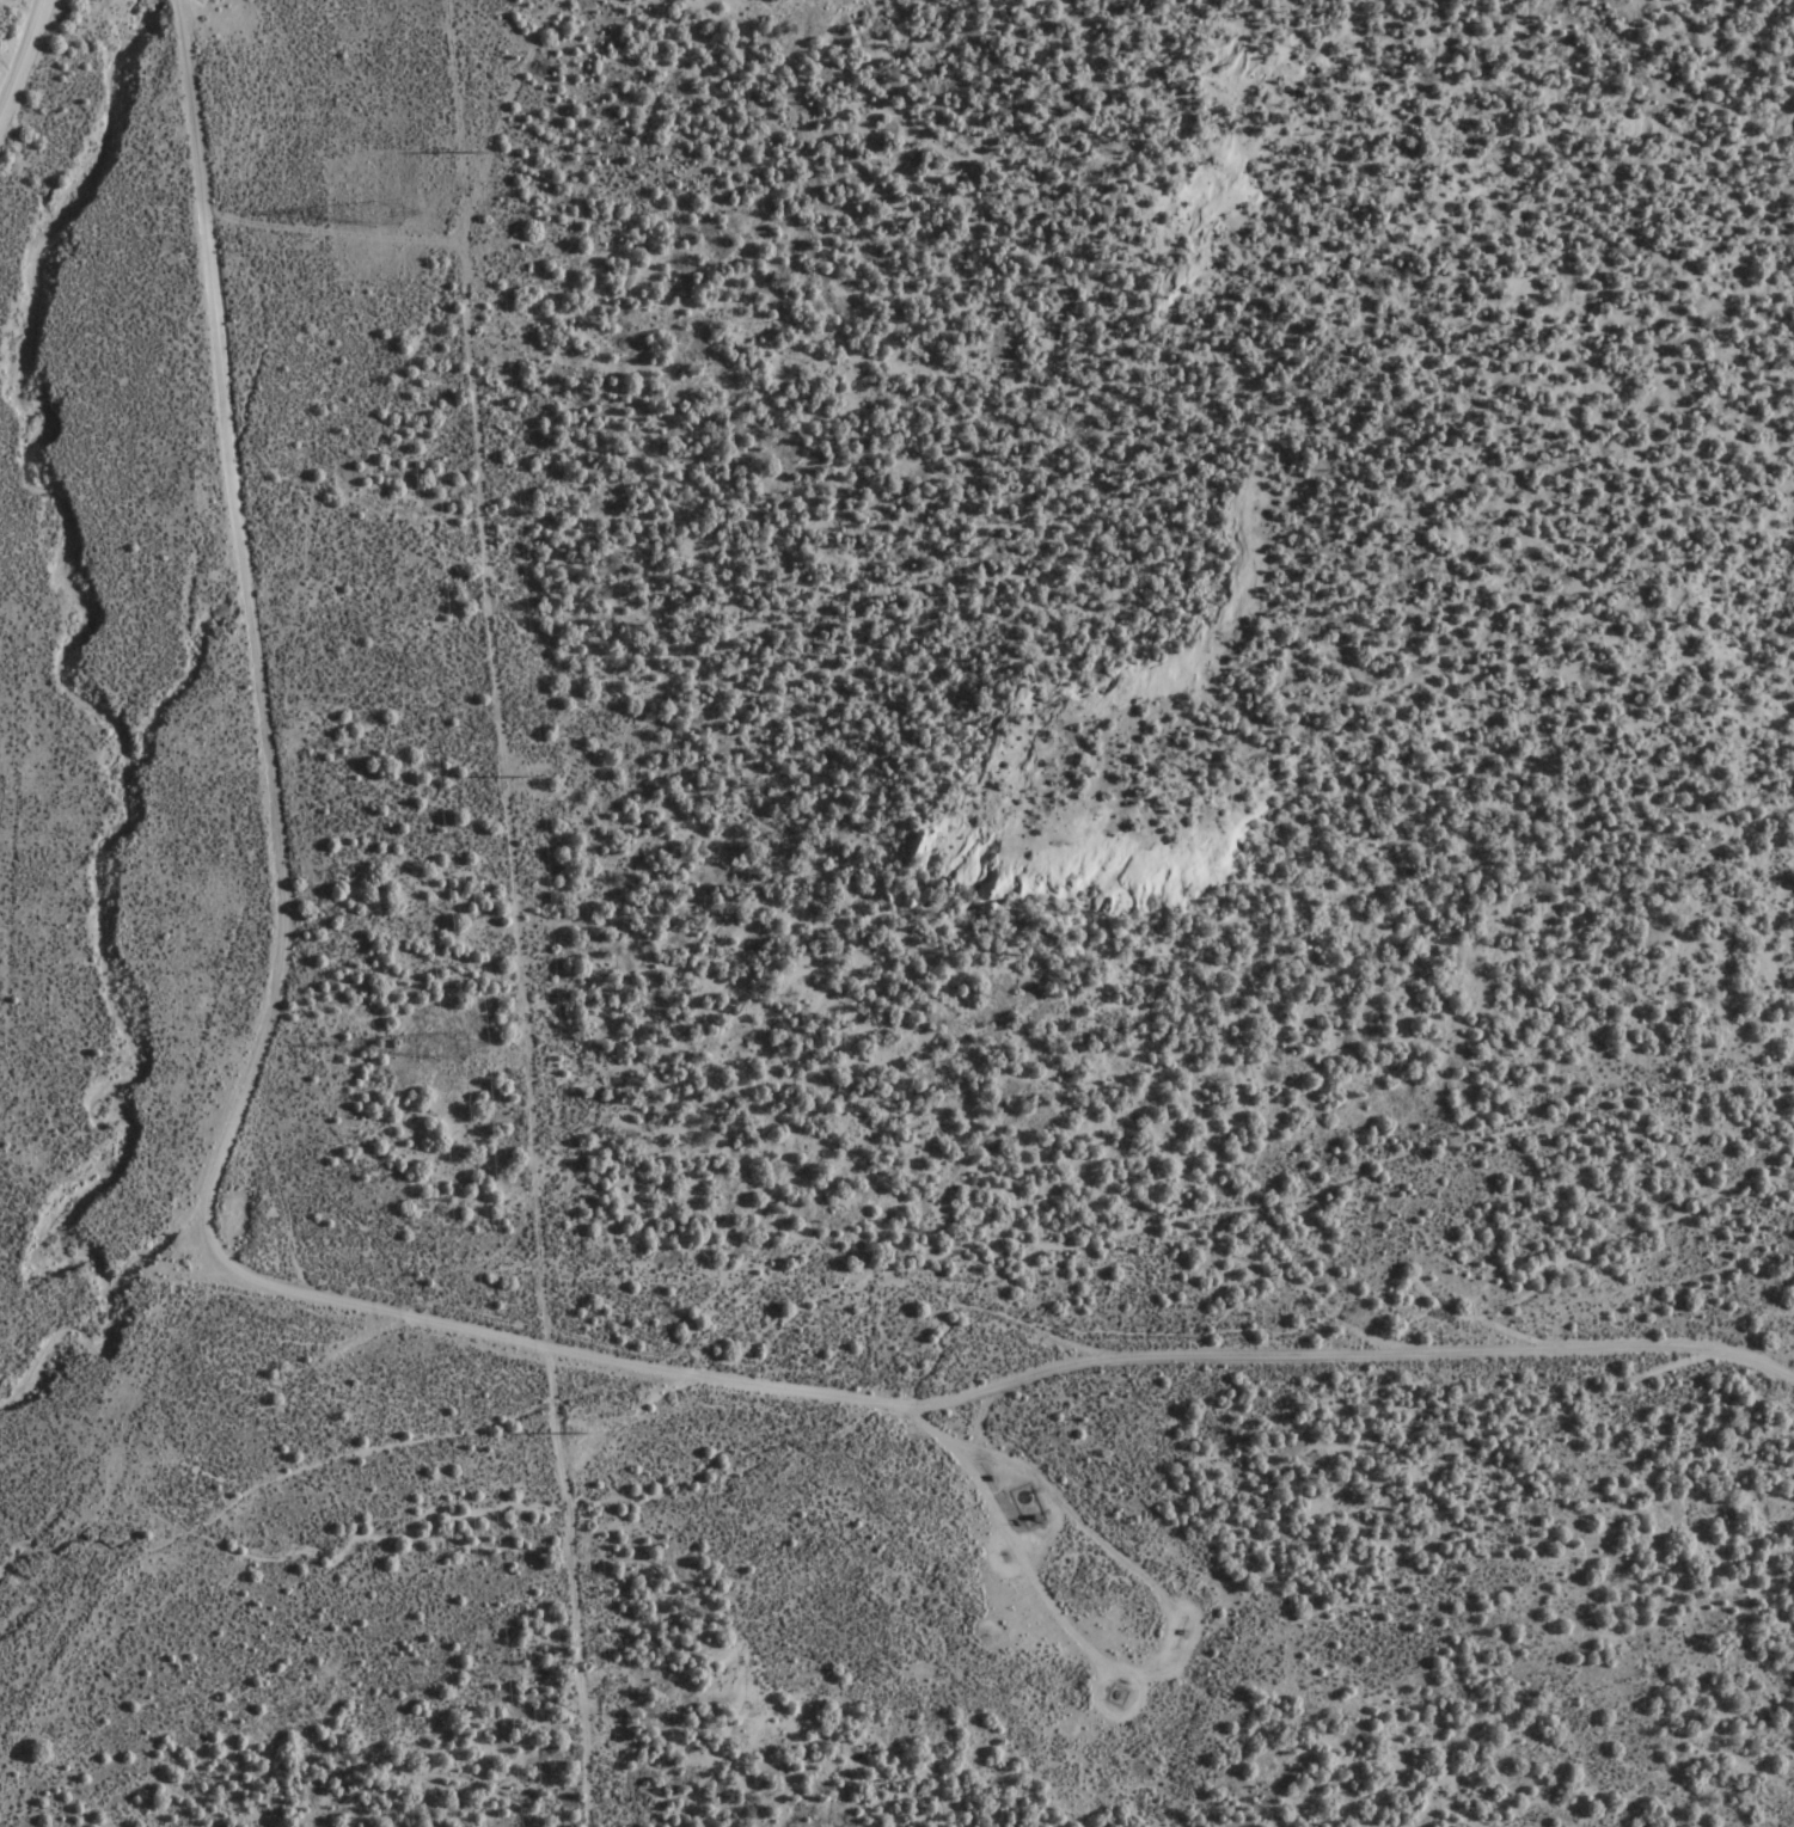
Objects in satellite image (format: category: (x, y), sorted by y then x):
road: (23, 60)
power tower: (384, 214)
river: (106, 740)
road: (286, 842)
power tower: (445, 1043)
road: (985, 1390)

